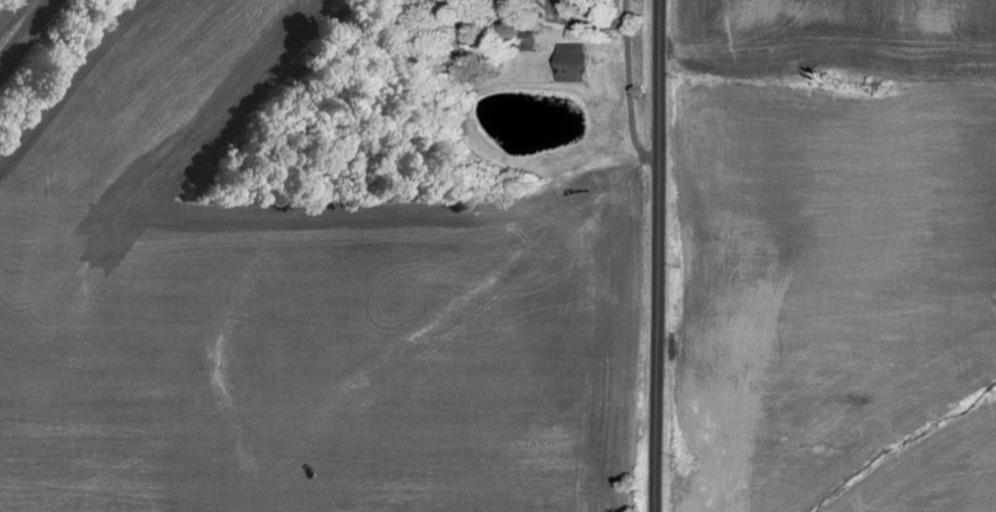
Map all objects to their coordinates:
road: (658, 255)

